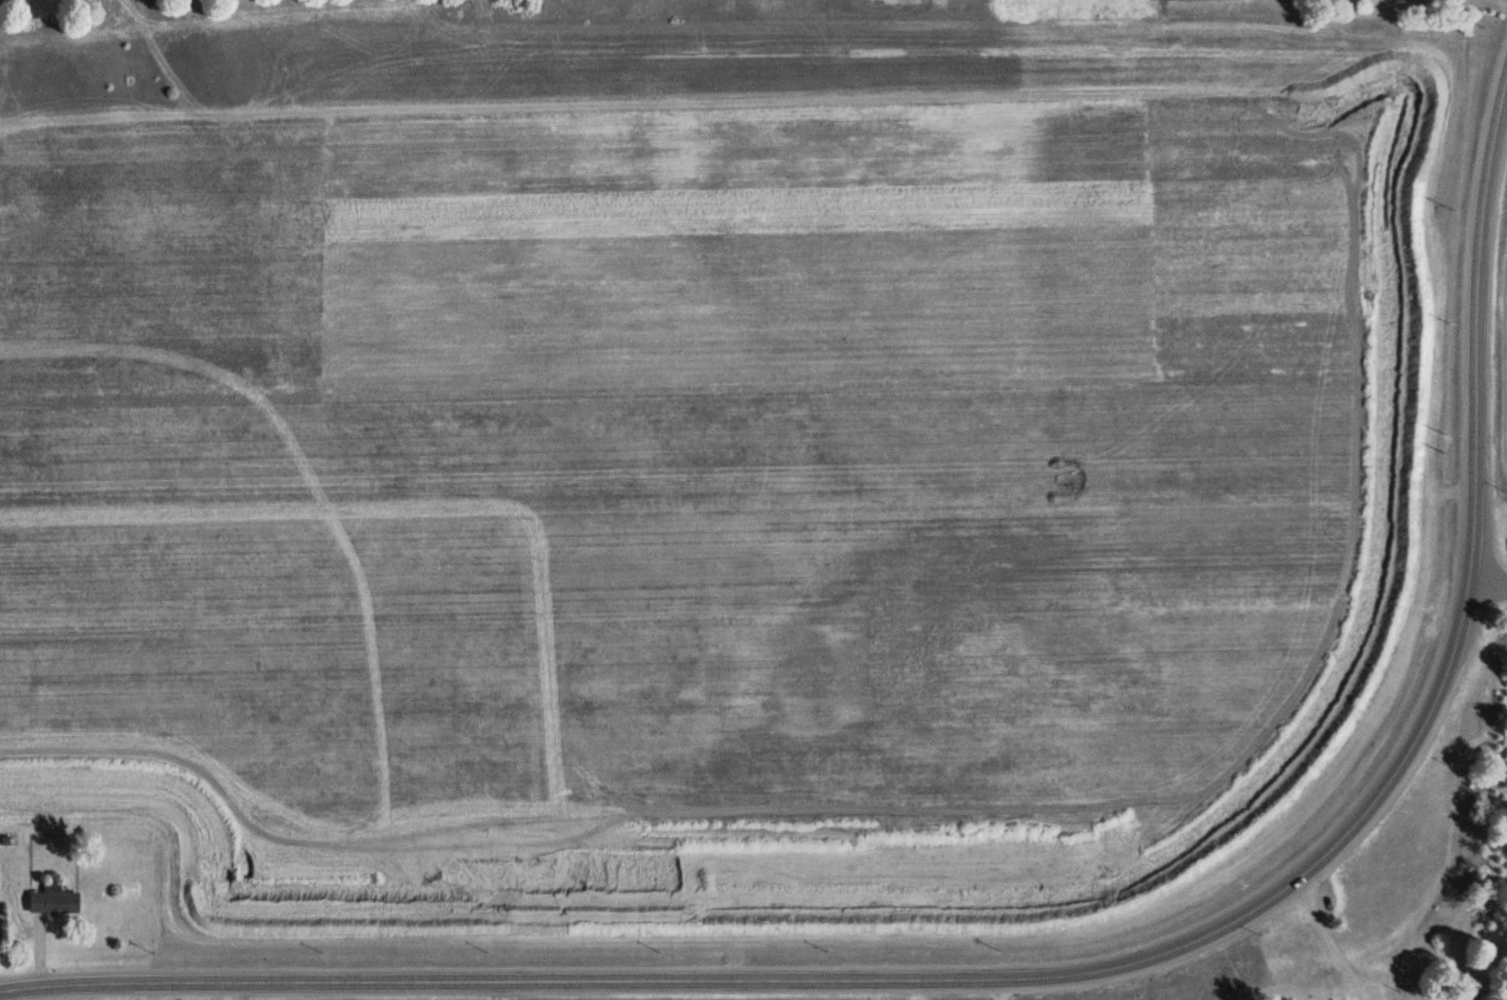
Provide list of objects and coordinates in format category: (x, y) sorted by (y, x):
airport runway: (664, 560)
road: (1488, 581)
building: (52, 900)
road: (1087, 971)

